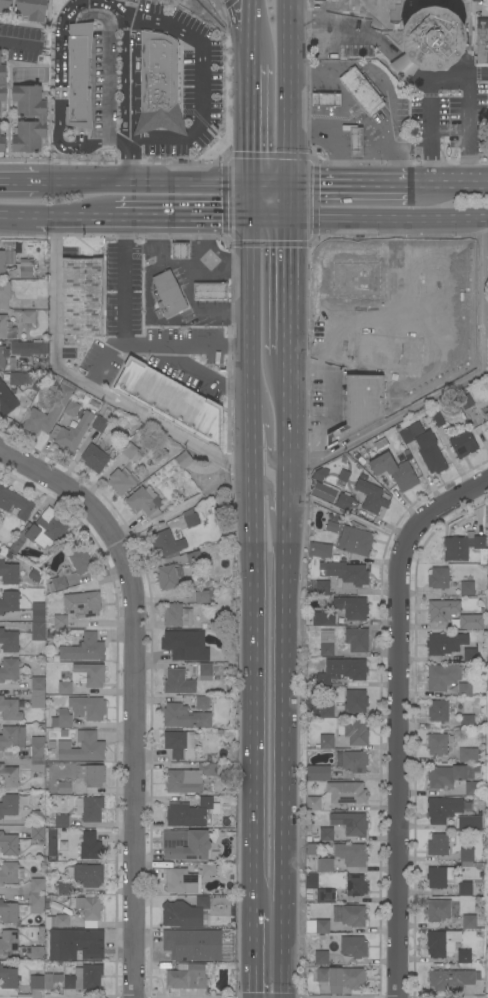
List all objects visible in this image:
road: (226, 1)
building: (5, 6)
building: (460, 6)
building: (483, 6)
road: (115, 7)
building: (31, 9)
road: (331, 9)
road: (238, 15)
road: (359, 19)
road: (250, 31)
parking lot: (23, 35)
road: (379, 41)
building: (481, 41)
building: (429, 42)
road: (58, 43)
road: (16, 45)
road: (331, 49)
parking lot: (194, 66)
road: (105, 68)
road: (404, 68)
building: (78, 76)
road: (439, 81)
road: (80, 82)
building: (2, 83)
building: (158, 85)
road: (206, 87)
building: (361, 91)
road: (286, 92)
building: (325, 99)
road: (125, 100)
gas station: (354, 112)
road: (467, 117)
building: (42, 119)
road: (250, 124)
road: (334, 131)
road: (432, 134)
road: (377, 136)
building: (355, 141)
gas station: (355, 141)
building: (2, 142)
road: (68, 142)
traffic signals: (250, 149)
road: (406, 149)
road: (19, 182)
road: (82, 183)
road: (187, 184)
road: (449, 184)
road: (268, 185)
traffic signals: (317, 185)
road: (349, 185)
road: (250, 200)
road: (287, 200)
road: (182, 215)
traffic signals: (217, 215)
road: (268, 215)
road: (17, 216)
road: (73, 216)
road: (387, 217)
road: (206, 240)
road: (139, 248)
traffic signals: (288, 248)
building: (180, 251)
gas station: (180, 251)
building: (6, 254)
road: (387, 262)
road: (180, 264)
building: (335, 266)
road: (434, 267)
building: (25, 269)
gas station: (183, 283)
road: (287, 284)
road: (189, 288)
building: (210, 291)
building: (4, 294)
building: (168, 295)
building: (80, 299)
road: (384, 307)
road: (222, 310)
building: (26, 317)
building: (3, 326)
road: (129, 341)
road: (191, 344)
building: (19, 350)
building: (19, 378)
building: (360, 384)
road: (446, 384)
road: (86, 386)
building: (59, 390)
building: (154, 395)
building: (465, 400)
building: (6, 402)
building: (71, 408)
building: (486, 415)
building: (435, 419)
building: (40, 420)
building: (99, 424)
road: (268, 431)
building: (71, 433)
building: (410, 436)
building: (463, 445)
building: (129, 451)
building: (430, 453)
building: (94, 459)
building: (183, 460)
building: (394, 471)
building: (122, 481)
building: (371, 497)
building: (344, 501)
building: (144, 502)
building: (14, 504)
road: (272, 511)
road: (345, 517)
building: (190, 518)
building: (487, 527)
building: (47, 529)
building: (355, 540)
building: (170, 542)
building: (15, 546)
building: (464, 548)
building: (319, 550)
building: (195, 557)
building: (80, 561)
road: (252, 564)
building: (9, 574)
building: (346, 574)
building: (37, 576)
building: (168, 576)
building: (438, 578)
building: (59, 581)
building: (322, 587)
building: (467, 587)
building: (202, 596)
building: (9, 601)
building: (82, 604)
building: (351, 607)
building: (442, 610)
building: (177, 616)
building: (321, 618)
building: (59, 621)
building: (37, 622)
building: (471, 622)
building: (356, 640)
building: (9, 641)
building: (327, 643)
building: (445, 643)
building: (181, 645)
building: (83, 649)
building: (470, 655)
building: (487, 659)
building: (9, 669)
building: (341, 671)
building: (205, 672)
building: (88, 675)
road: (284, 676)
building: (442, 677)
building: (174, 681)
building: (64, 687)
building: (465, 690)
building: (37, 692)
road: (134, 695)
building: (355, 702)
building: (202, 703)
building: (87, 708)
building: (10, 709)
building: (326, 711)
building: (438, 711)
building: (184, 717)
road: (398, 717)
building: (62, 720)
building: (466, 722)
building: (353, 731)
building: (12, 737)
building: (325, 742)
building: (180, 744)
building: (436, 744)
building: (37, 747)
building: (81, 747)
building: (468, 755)
building: (354, 761)
building: (37, 766)
building: (316, 772)
building: (91, 775)
building: (8, 776)
building: (445, 776)
building: (188, 779)
building: (64, 787)
building: (473, 789)
building: (337, 796)
building: (8, 804)
building: (89, 808)
building: (443, 809)
building: (191, 813)
building: (37, 818)
building: (61, 821)
building: (350, 822)
building: (468, 823)
building: (37, 833)
building: (326, 834)
building: (8, 845)
building: (185, 845)
building: (437, 845)
building: (90, 846)
building: (351, 854)
building: (465, 856)
building: (326, 865)
building: (208, 870)
building: (8, 872)
building: (86, 875)
building: (439, 876)
building: (180, 881)
building: (311, 881)
building: (355, 885)
building: (36, 886)
building: (62, 888)
building: (465, 889)
building: (327, 896)
building: (36, 903)
building: (87, 909)
building: (437, 910)
building: (185, 911)
building: (8, 912)
building: (353, 916)
building: (59, 921)
building: (469, 922)
building: (322, 926)
building: (8, 940)
building: (441, 943)
building: (75, 944)
building: (192, 944)
building: (353, 947)
building: (36, 954)
road: (253, 956)
building: (463, 956)
building: (321, 957)
building: (8, 978)
building: (84, 978)
building: (187, 978)
building: (341, 978)
building: (450, 980)
building: (44, 981)

